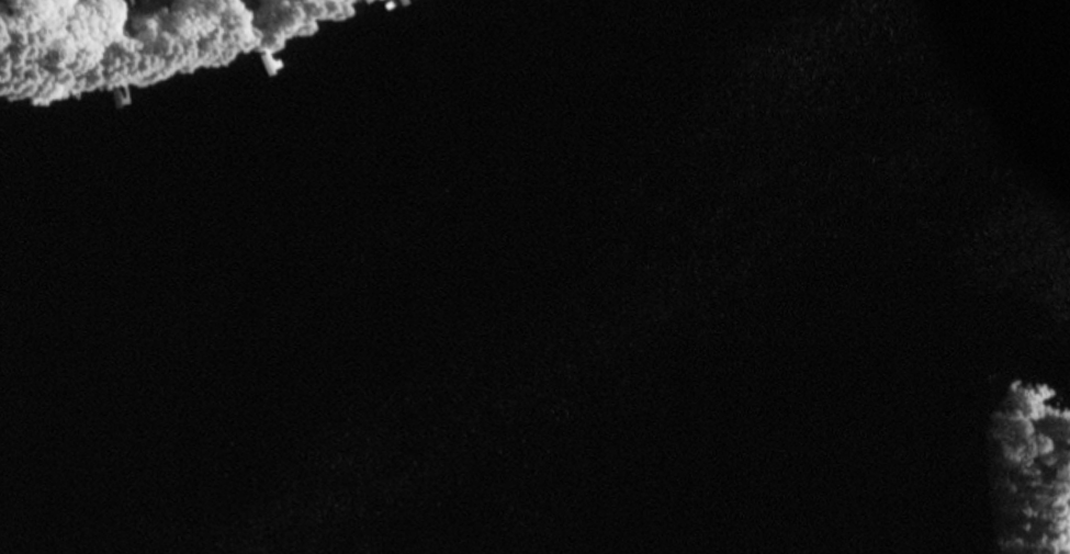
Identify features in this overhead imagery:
building: (106, 4)
building: (1066, 551)

